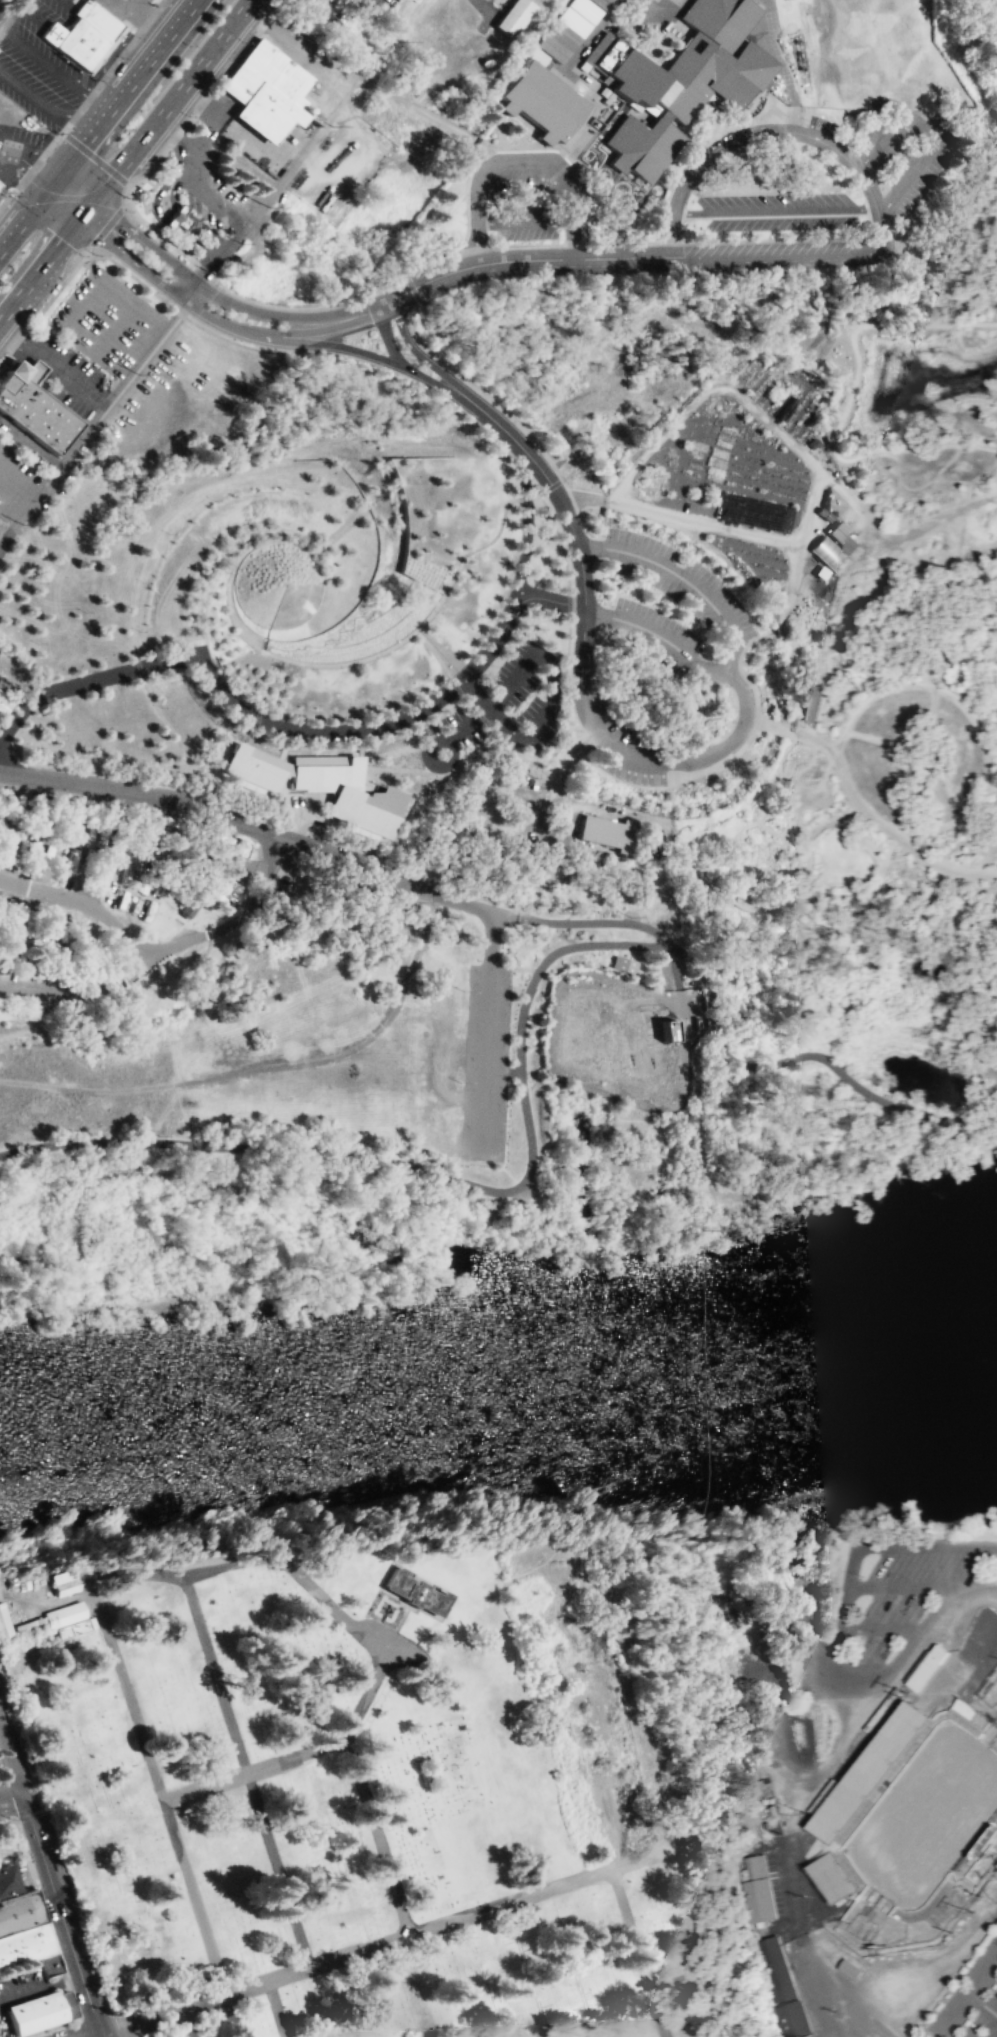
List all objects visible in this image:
building: (312, 4)
building: (1, 7)
road: (487, 13)
building: (513, 16)
building: (568, 28)
building: (79, 32)
street lamp: (244, 41)
street lamp: (121, 56)
building: (537, 56)
road: (53, 70)
building: (676, 80)
building: (264, 89)
building: (539, 99)
road: (43, 104)
street lamp: (188, 114)
road: (95, 125)
parking lot: (24, 134)
road: (928, 134)
road: (825, 146)
road: (518, 159)
road: (26, 160)
road: (127, 161)
road: (992, 169)
street lamp: (126, 196)
road: (675, 207)
building: (177, 218)
street lamp: (95, 253)
road: (768, 257)
road: (492, 262)
road: (210, 267)
road: (180, 271)
street lamp: (54, 286)
street lamp: (257, 294)
road: (173, 295)
road: (922, 325)
road: (411, 348)
road: (380, 356)
road: (54, 364)
building: (31, 411)
road: (840, 445)
road: (979, 446)
road: (947, 480)
road: (813, 483)
road: (901, 486)
street lamp: (531, 489)
road: (525, 495)
street lamp: (514, 503)
parking lot: (699, 508)
building: (752, 512)
road: (857, 513)
road: (946, 514)
road: (566, 516)
road: (525, 526)
street lamp: (500, 536)
road: (557, 537)
street lamp: (553, 539)
building: (844, 539)
road: (233, 540)
building: (825, 552)
road: (873, 553)
street lamp: (469, 555)
park: (576, 574)
street lamp: (563, 576)
road: (792, 576)
road: (683, 578)
street lamp: (455, 580)
parking lot: (678, 581)
road: (807, 581)
fountain: (277, 584)
parking lot: (812, 590)
road: (568, 601)
road: (357, 607)
street lamp: (437, 611)
road: (963, 624)
road: (341, 626)
road: (418, 626)
road: (864, 628)
parking lot: (653, 632)
road: (321, 634)
street lamp: (410, 639)
road: (266, 643)
road: (157, 644)
street lamp: (248, 645)
road: (839, 647)
road: (789, 649)
road: (439, 652)
street lamp: (563, 654)
street lamp: (380, 658)
street lamp: (275, 659)
fountain: (914, 661)
road: (738, 663)
road: (702, 666)
road: (827, 666)
road: (138, 667)
street lamp: (342, 667)
street lamp: (306, 668)
road: (837, 679)
street lamp: (562, 685)
street lamp: (563, 699)
building: (3, 701)
road: (246, 701)
building: (809, 701)
road: (549, 702)
street lamp: (159, 705)
road: (211, 706)
parking lot: (500, 706)
road: (473, 708)
road: (970, 713)
road: (755, 716)
road: (927, 717)
road: (256, 721)
road: (469, 724)
road: (754, 724)
road: (765, 724)
road: (293, 727)
road: (415, 727)
street lamp: (118, 730)
street lamp: (58, 733)
road: (872, 738)
road: (810, 739)
road: (427, 742)
road: (572, 744)
road: (511, 746)
road: (918, 746)
road: (991, 746)
road: (315, 747)
road: (623, 752)
street lamp: (28, 758)
street lamp: (187, 758)
road: (147, 768)
street lamp: (130, 776)
street lamp: (443, 779)
road: (670, 782)
road: (995, 782)
building: (323, 785)
fountain: (378, 787)
road: (946, 787)
road: (233, 789)
road: (988, 789)
road: (801, 791)
road: (552, 797)
street lamp: (223, 801)
road: (900, 802)
road: (536, 805)
road: (783, 811)
road: (763, 813)
road: (794, 814)
road: (300, 818)
road: (570, 818)
road: (973, 820)
road: (749, 823)
road: (249, 824)
road: (760, 825)
road: (982, 829)
building: (607, 830)
street lamp: (319, 832)
road: (898, 834)
road: (957, 844)
road: (392, 846)
road: (983, 855)
road: (885, 858)
road: (879, 861)
road: (687, 862)
building: (127, 864)
road: (776, 872)
road: (718, 890)
road: (940, 899)
road: (583, 922)
building: (26, 924)
road: (556, 926)
road: (531, 945)
road: (157, 947)
road: (617, 948)
road: (635, 951)
road: (624, 956)
building: (622, 963)
road: (674, 968)
road: (80, 995)
road: (645, 999)
building: (665, 1030)
road: (486, 1032)
road: (519, 1057)
parking lot: (484, 1061)
road: (263, 1066)
road: (557, 1076)
power tower: (153, 1133)
road: (704, 1171)
river: (498, 1398)
road: (853, 1559)
building: (60, 1581)
road: (901, 1588)
building: (415, 1591)
parking lot: (903, 1597)
road: (326, 1602)
building: (59, 1621)
building: (3, 1626)
road: (881, 1628)
building: (925, 1668)
building: (965, 1708)
road: (832, 1755)
road: (10, 1757)
building: (861, 1777)
road: (156, 1782)
park: (357, 1791)
road: (10, 1794)
park: (925, 1815)
stadium: (878, 1846)
road: (594, 1872)
building: (833, 1877)
building: (7, 1878)
road: (393, 1884)
building: (755, 1889)
building: (20, 1909)
road: (290, 1910)
road: (63, 1913)
road: (55, 1940)
building: (25, 1943)
building: (51, 1962)
building: (847, 1967)
building: (781, 1988)
road: (969, 2000)
parking lot: (970, 2000)
building: (68, 2002)
road: (185, 2003)
road: (984, 2007)
road: (275, 2008)
building: (36, 2010)
road: (848, 2011)
road: (186, 2021)
road: (82, 2027)
road: (97, 2034)
road: (943, 2035)

